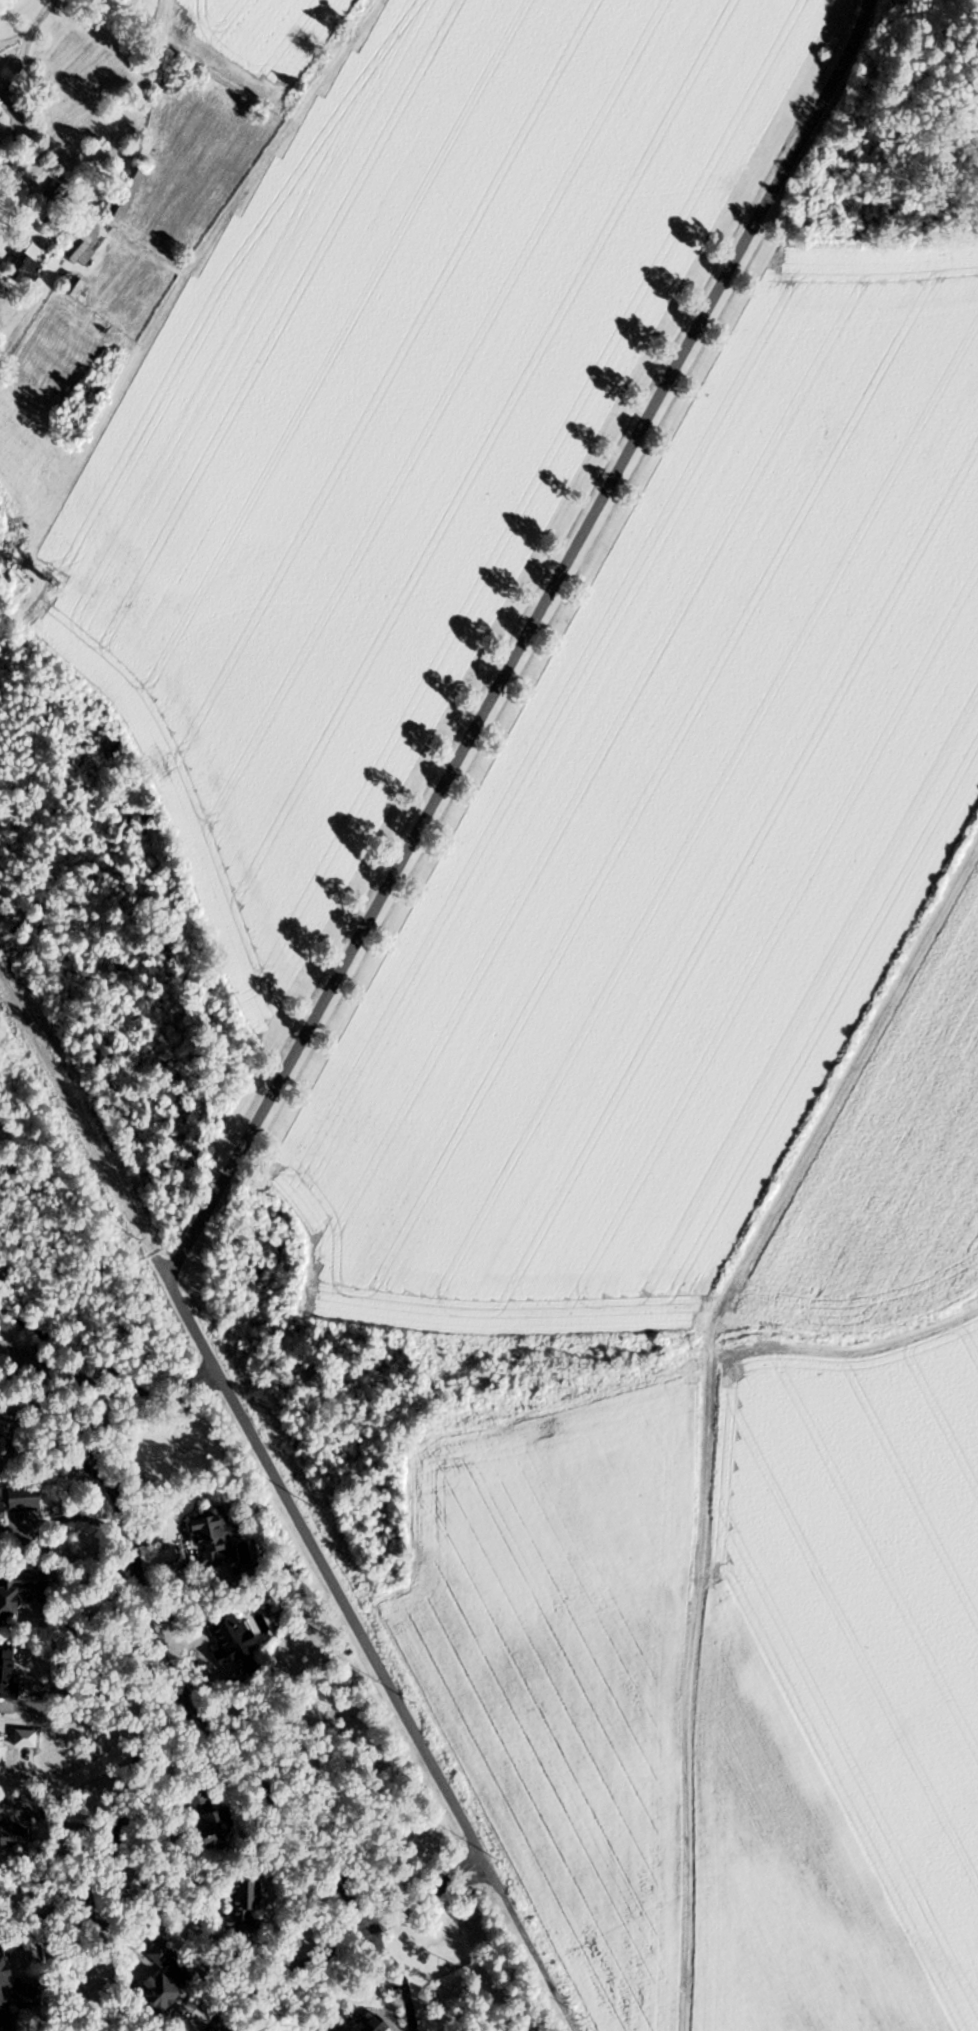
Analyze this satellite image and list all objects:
road: (15, 34)
road: (27, 51)
road: (9, 104)
building: (0, 107)
building: (2, 144)
road: (54, 171)
building: (129, 193)
building: (75, 247)
building: (26, 263)
building: (76, 287)
road: (525, 643)
road: (108, 1370)
road: (69, 1374)
road: (707, 1403)
road: (29, 1411)
road: (104, 1433)
building: (1, 1446)
building: (14, 1505)
building: (214, 1537)
road: (324, 1567)
building: (19, 1591)
building: (234, 1639)
building: (9, 1675)
road: (205, 1728)
road: (61, 1824)
building: (218, 1830)
building: (14, 1836)
road: (114, 1846)
building: (245, 1907)
road: (343, 1943)
road: (527, 1944)
building: (5, 1966)
road: (401, 1976)
building: (169, 1978)
road: (241, 2014)
building: (376, 2024)
building: (534, 2030)

